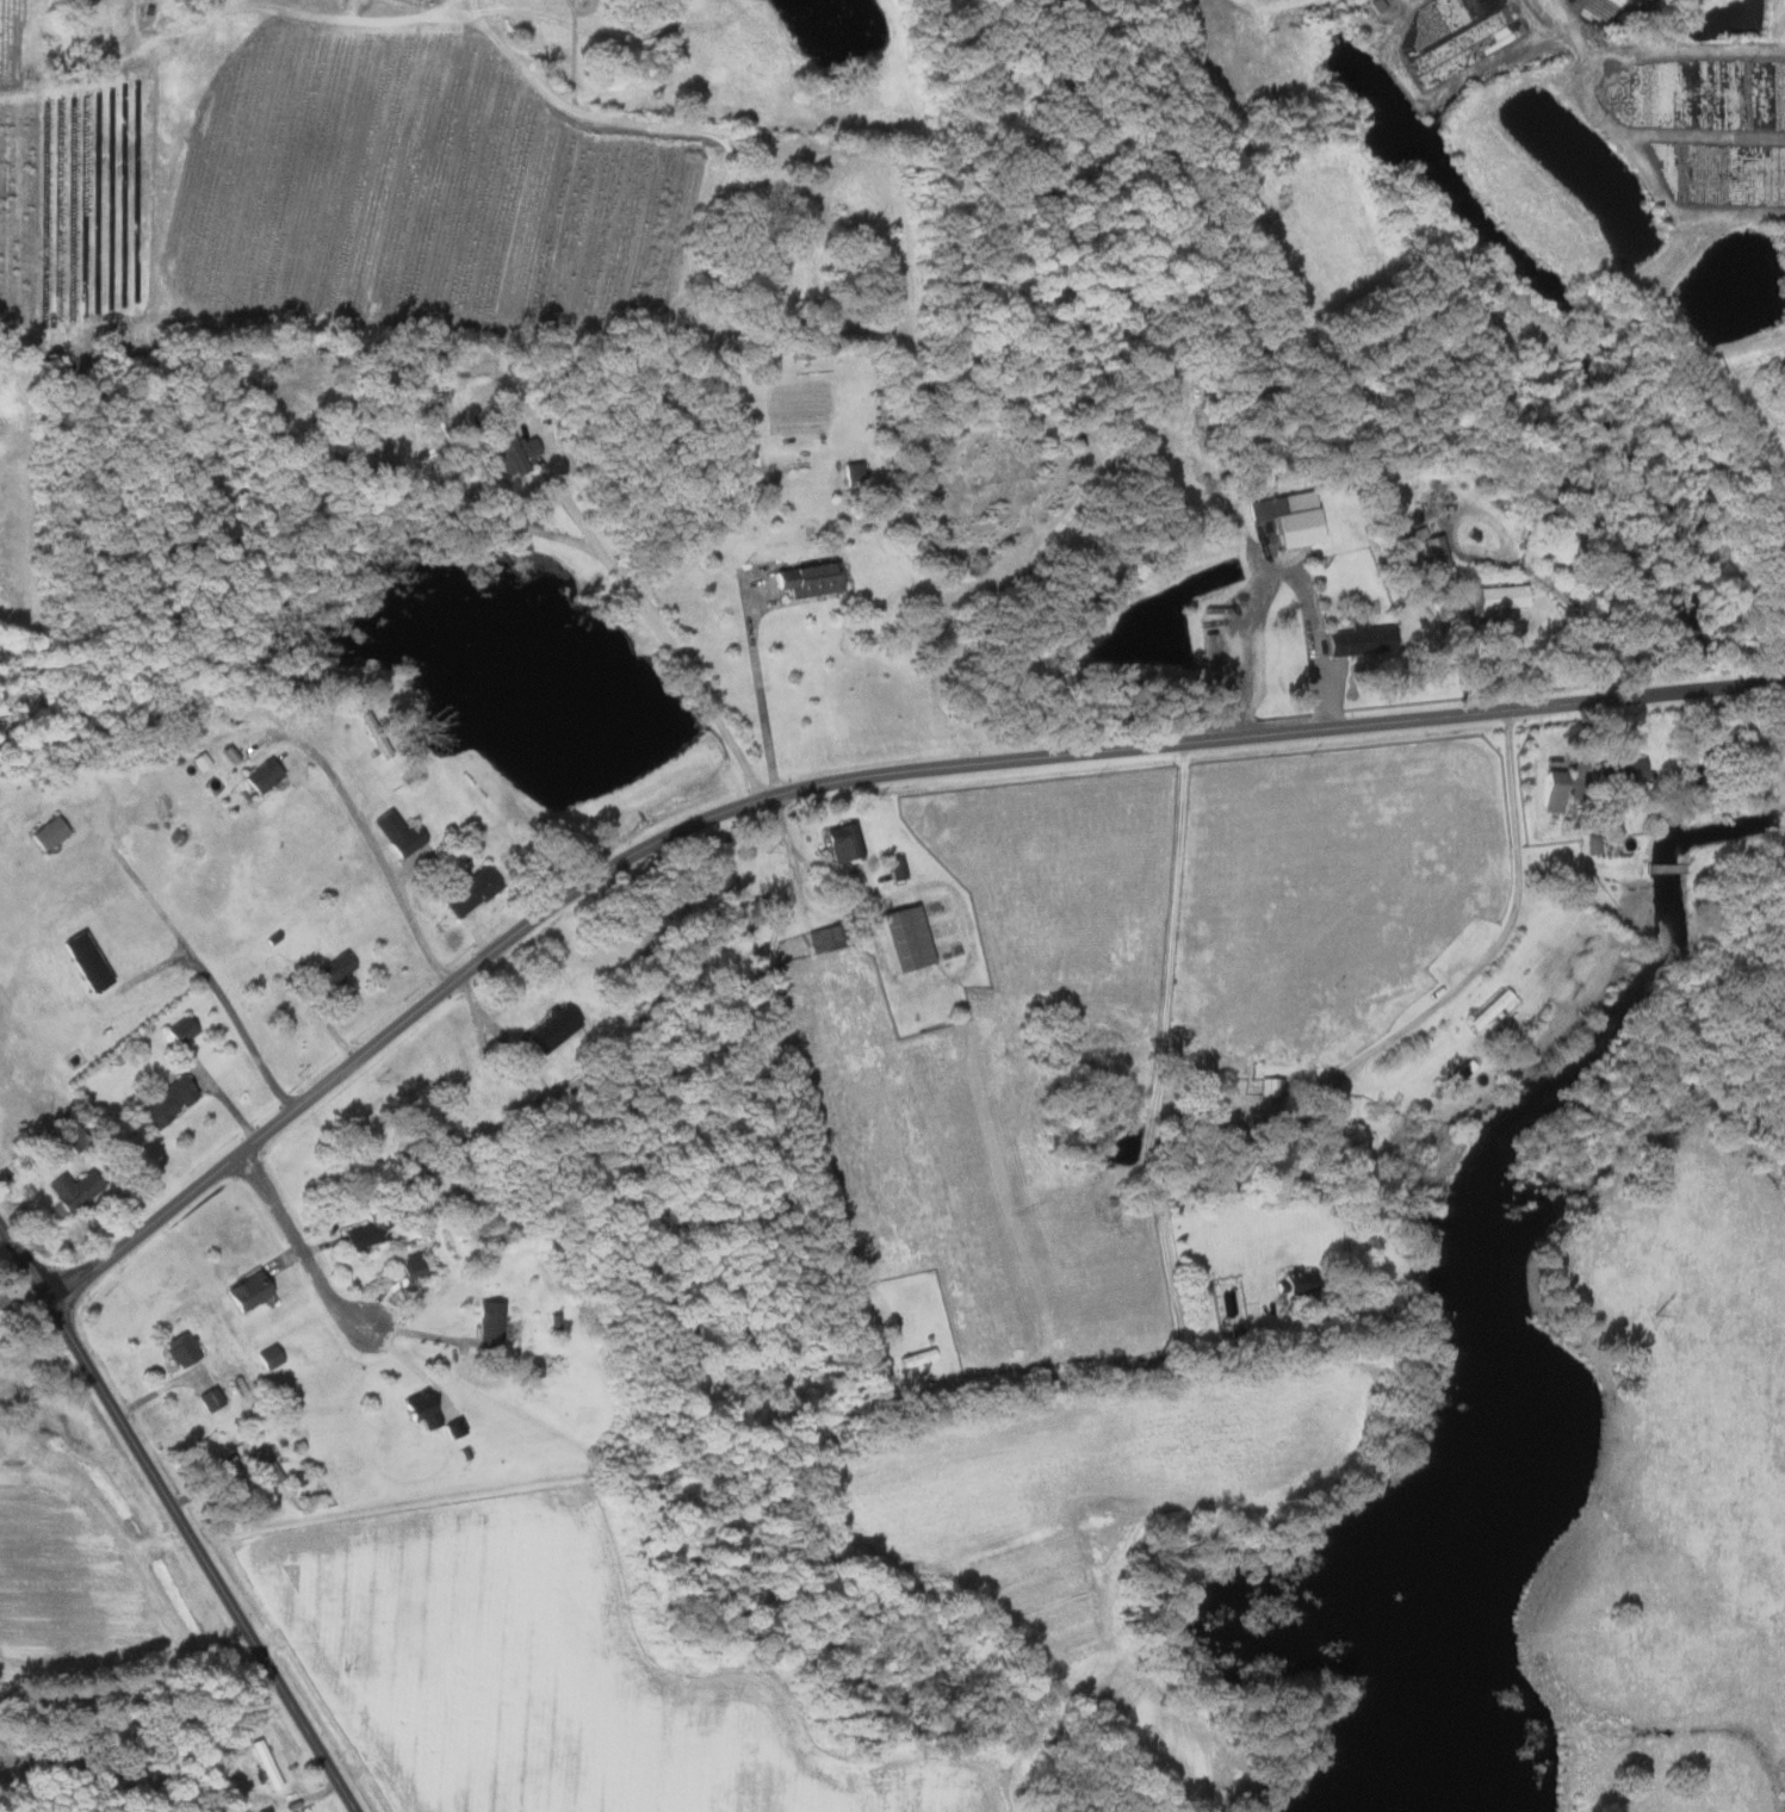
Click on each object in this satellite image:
road: (1287, 2)
road: (1641, 151)
road: (340, 329)
building: (512, 453)
building: (851, 473)
road: (562, 483)
road: (1520, 559)
building: (1436, 565)
road: (1272, 571)
building: (806, 581)
building: (1498, 597)
building: (1358, 641)
road: (760, 697)
building: (1622, 770)
building: (260, 776)
road: (837, 783)
building: (1551, 789)
building: (47, 833)
building: (841, 842)
building: (404, 843)
road: (386, 865)
building: (894, 868)
road: (134, 869)
building: (467, 889)
building: (903, 938)
building: (83, 962)
building: (330, 973)
road: (1437, 1005)
building: (1488, 1010)
road: (236, 1019)
building: (179, 1030)
building: (543, 1040)
road: (481, 1045)
building: (1270, 1088)
building: (163, 1100)
building: (70, 1192)
building: (357, 1237)
road: (299, 1246)
building: (410, 1270)
building: (1289, 1285)
road: (19, 1292)
building: (244, 1292)
building: (486, 1326)
road: (36, 1351)
building: (178, 1351)
building: (267, 1358)
road: (1037, 1382)
building: (419, 1411)
building: (259, 1466)
road: (181, 1519)
road: (130, 1689)

